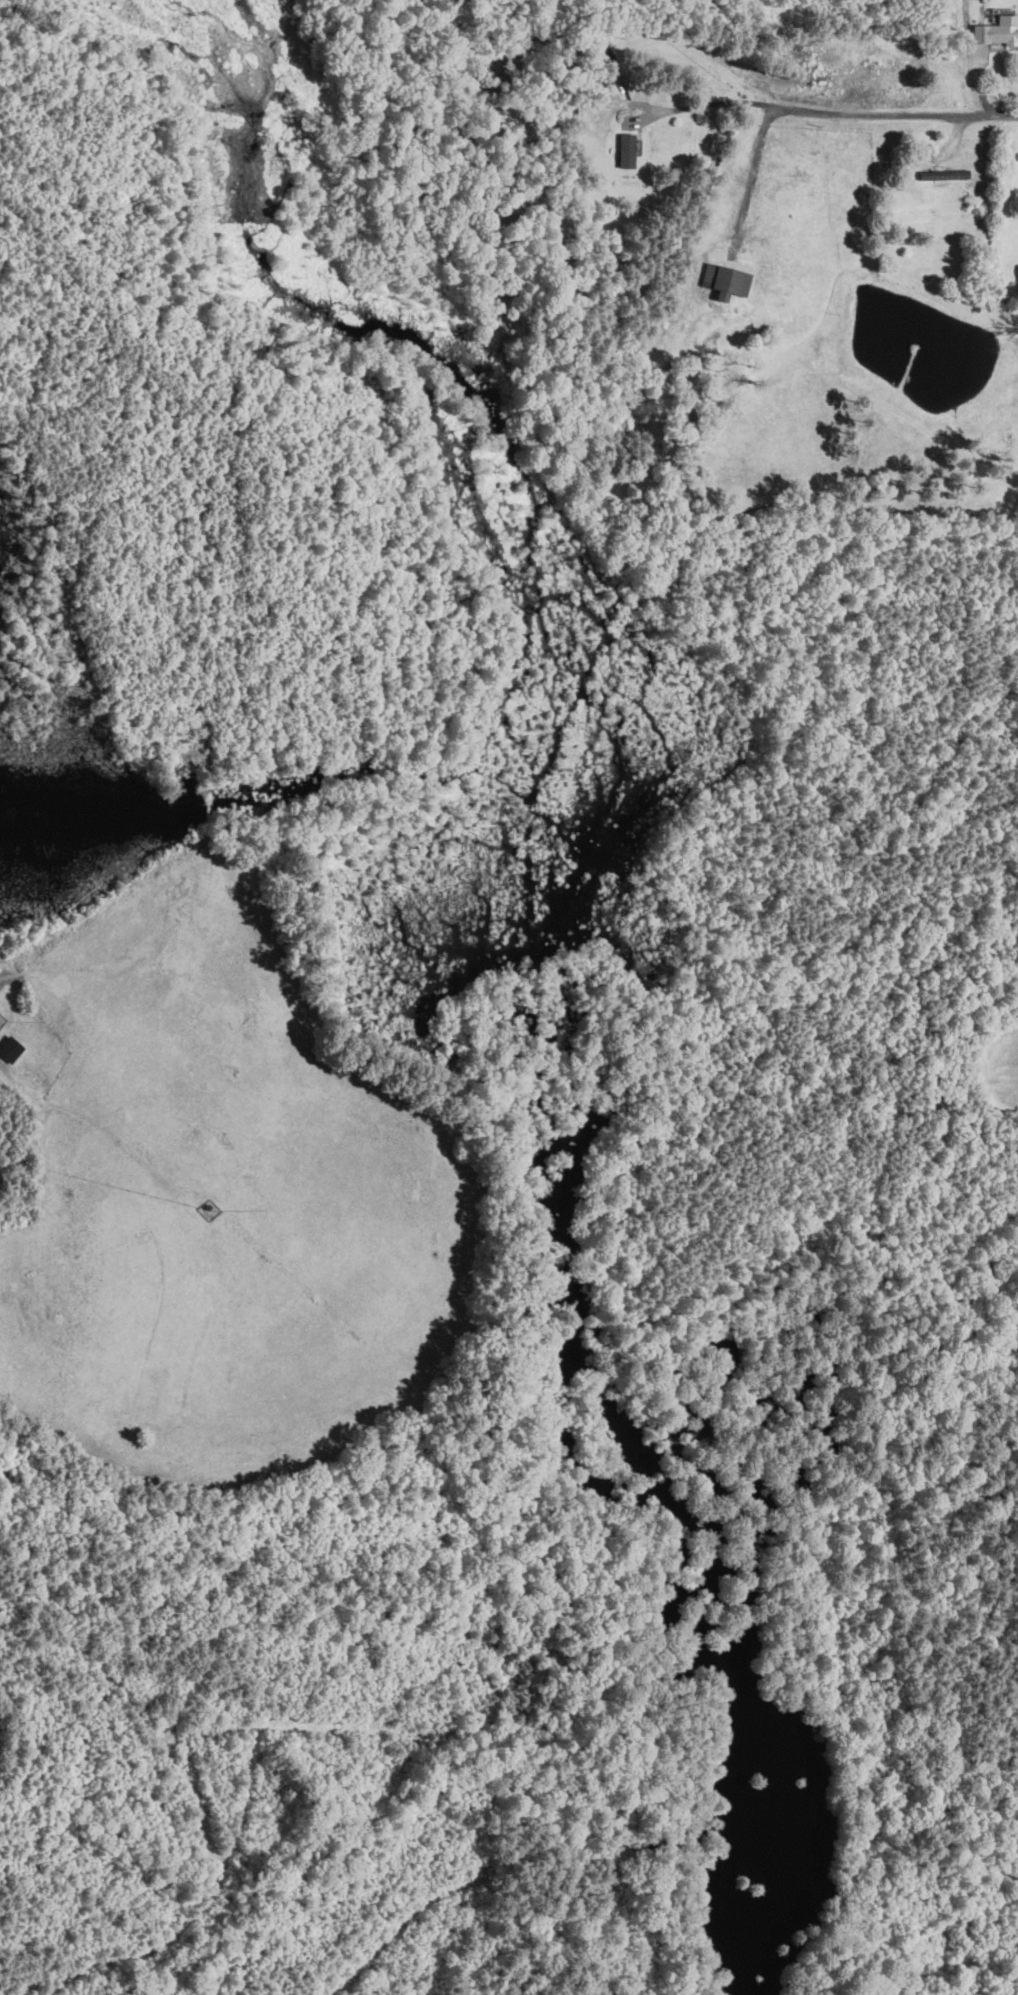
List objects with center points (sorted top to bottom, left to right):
building: (998, 27)
road: (821, 110)
road: (1008, 110)
building: (627, 149)
road: (752, 172)
building: (944, 174)
building: (725, 280)
building: (11, 1048)

